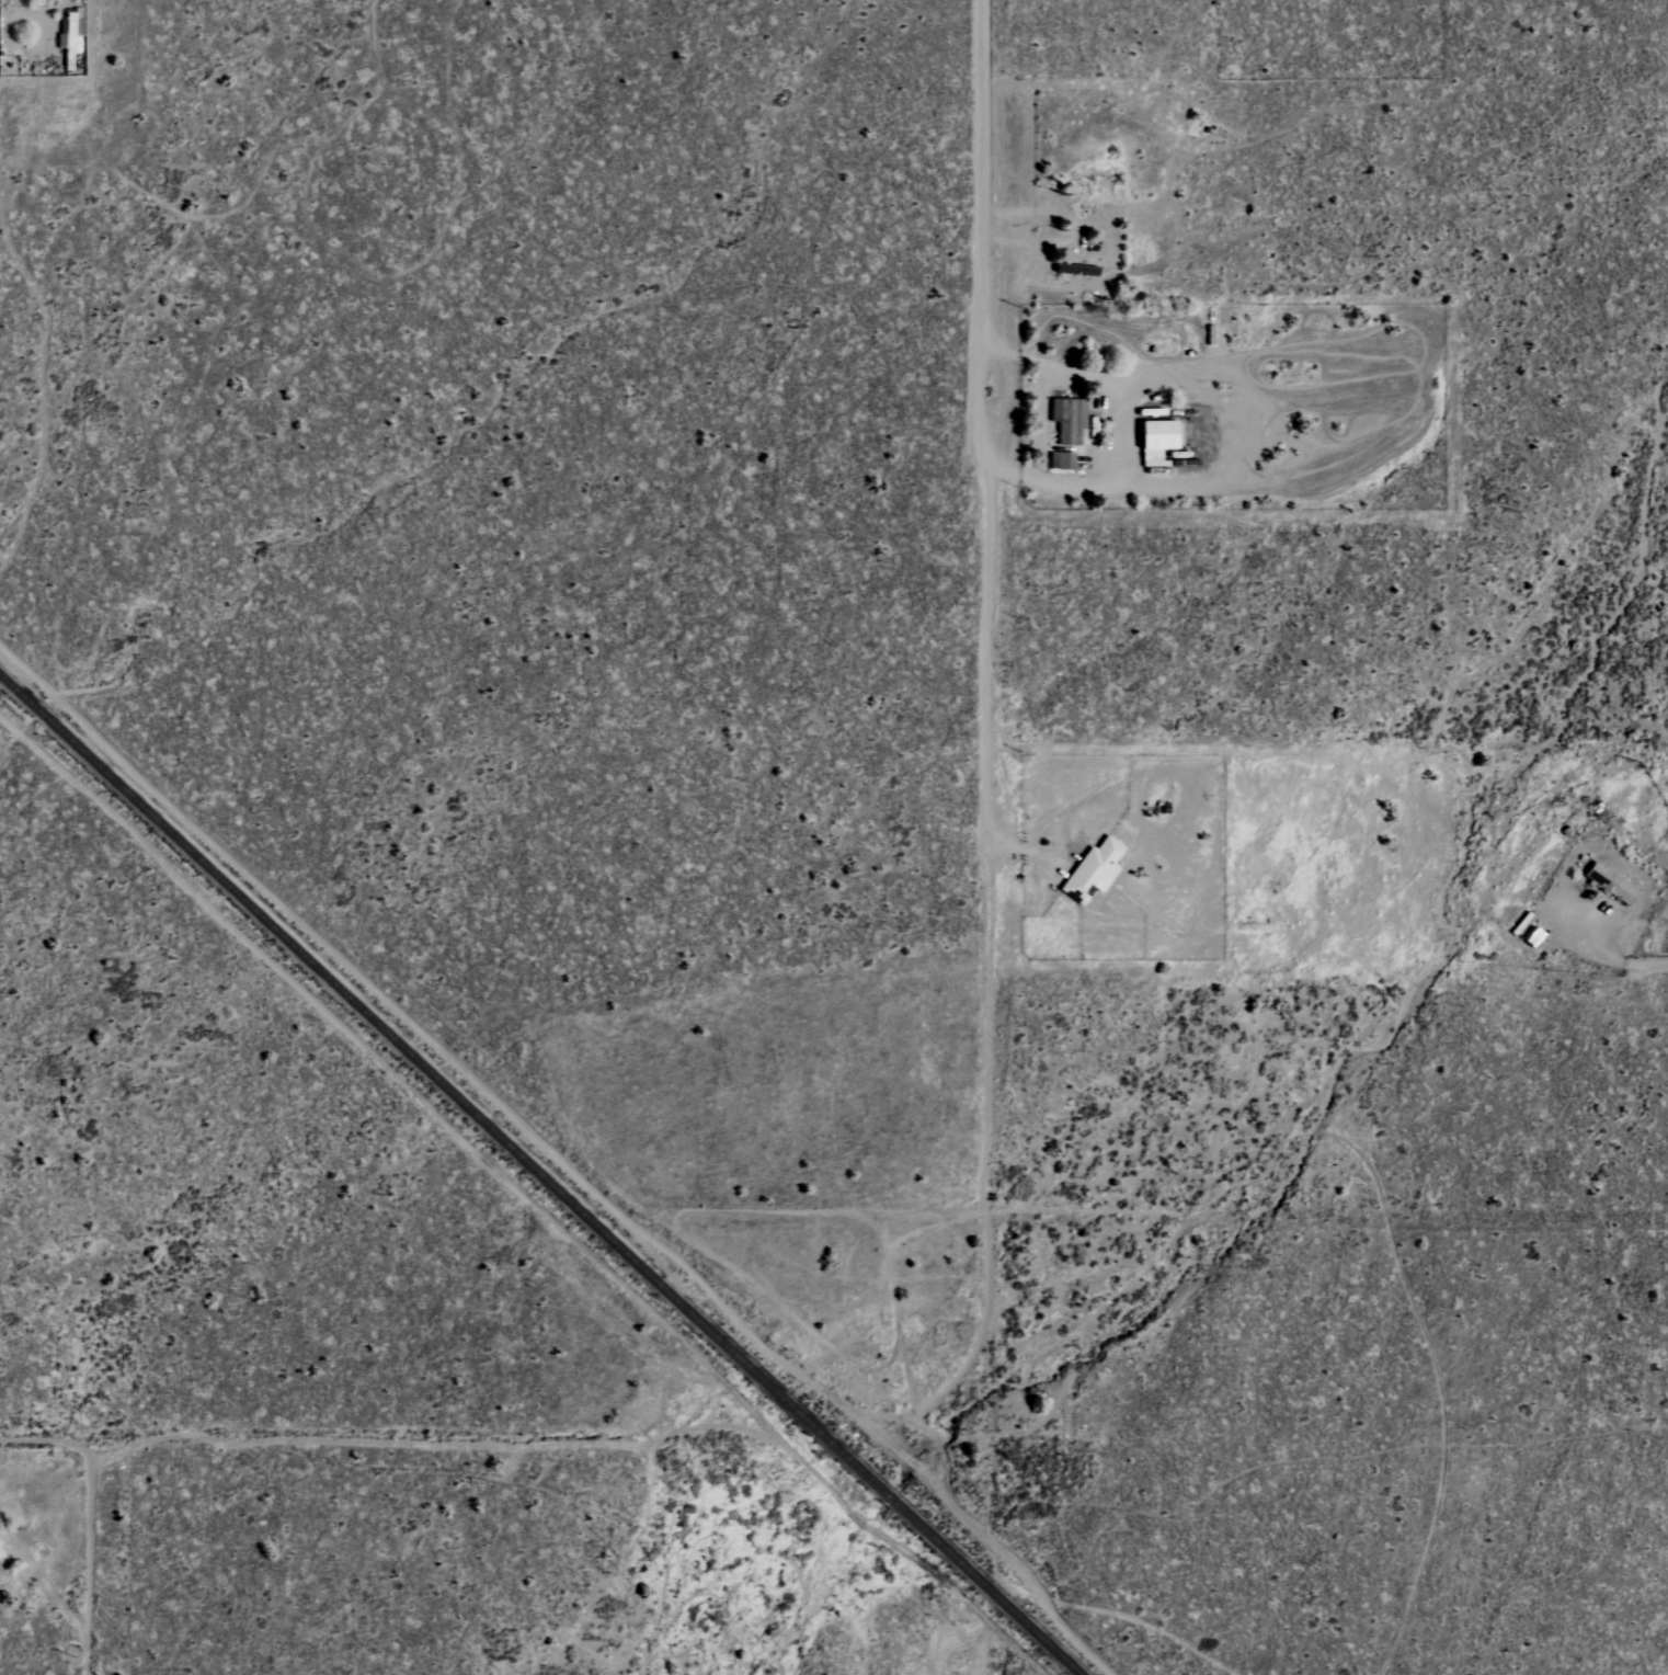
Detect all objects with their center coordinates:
road: (90, 38)
road: (1165, 182)
road: (1173, 367)
building: (1153, 440)
road: (1329, 524)
road: (989, 760)
building: (1609, 885)
road: (1622, 958)
railway: (538, 1175)
road: (363, 1442)
road: (81, 1552)
building: (4, 1554)
road: (36, 1572)
road: (984, 1663)

